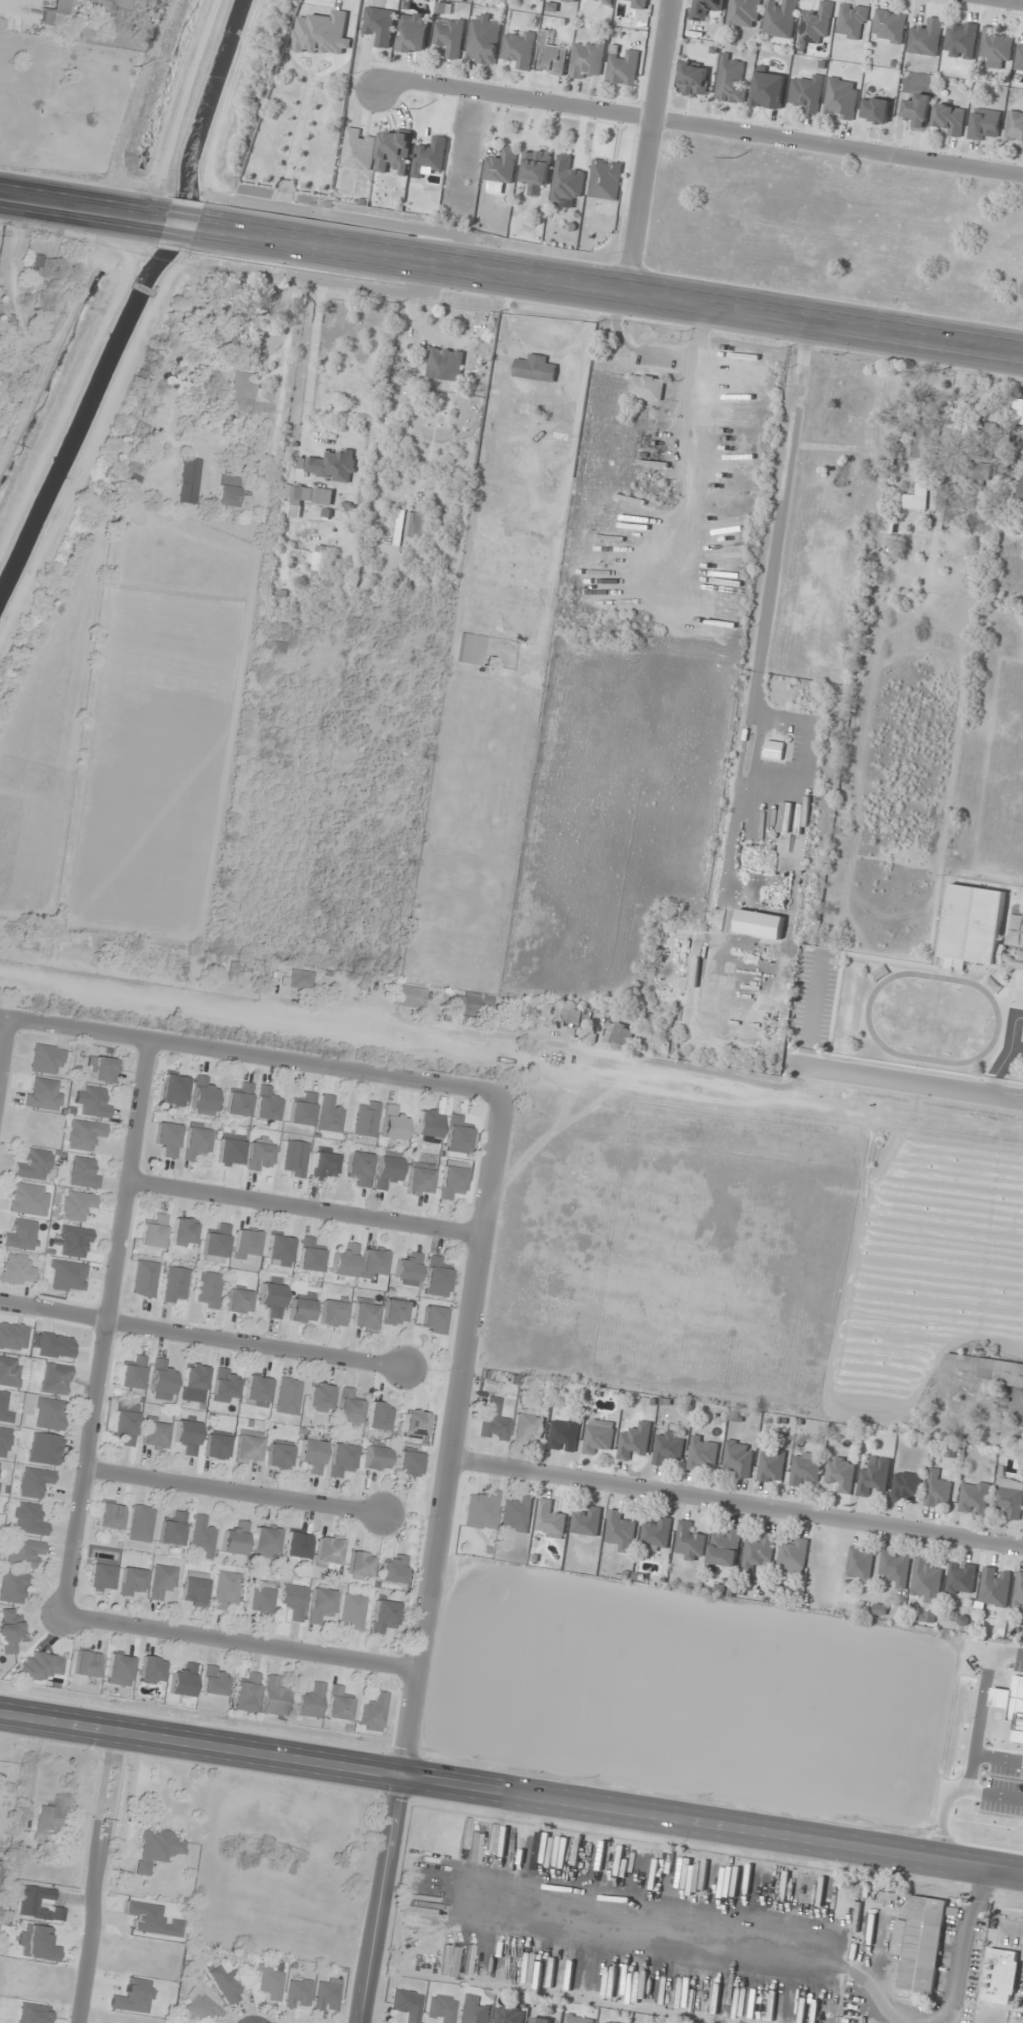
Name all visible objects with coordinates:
building: (570, 0)
building: (601, 1)
road: (1009, 2)
building: (638, 4)
building: (706, 9)
building: (744, 13)
building: (780, 18)
building: (54, 20)
building: (852, 21)
building: (815, 24)
building: (380, 25)
building: (889, 26)
building: (413, 32)
building: (450, 35)
building: (926, 36)
building: (484, 40)
building: (961, 40)
building: (996, 47)
building: (519, 48)
building: (551, 55)
building: (1019, 57)
building: (588, 60)
building: (623, 65)
building: (695, 78)
building: (731, 80)
building: (769, 89)
building: (807, 93)
building: (841, 98)
building: (876, 109)
building: (918, 111)
building: (950, 119)
building: (984, 123)
road: (696, 127)
building: (1014, 128)
road: (648, 145)
building: (359, 149)
building: (395, 151)
building: (322, 152)
building: (501, 165)
building: (536, 166)
building: (606, 179)
building: (568, 181)
road: (76, 207)
road: (177, 223)
building: (38, 265)
road: (612, 288)
building: (46, 298)
building: (6, 322)
building: (226, 330)
building: (445, 364)
road: (297, 366)
building: (536, 368)
building: (2, 373)
building: (647, 387)
building: (241, 392)
building: (1018, 408)
building: (922, 440)
building: (333, 465)
building: (976, 470)
building: (134, 472)
building: (228, 491)
building: (1020, 495)
building: (306, 497)
building: (916, 499)
building: (416, 525)
building: (889, 525)
building: (319, 562)
building: (277, 647)
building: (972, 925)
building: (239, 969)
building: (301, 979)
building: (409, 996)
building: (469, 1004)
road: (812, 1009)
building: (572, 1015)
building: (618, 1033)
road: (533, 1044)
road: (5, 1054)
road: (250, 1055)
road: (1006, 1055)
building: (47, 1059)
building: (104, 1070)
road: (907, 1084)
building: (174, 1090)
building: (44, 1094)
building: (204, 1097)
building: (93, 1101)
building: (240, 1101)
building: (267, 1104)
building: (303, 1110)
building: (330, 1115)
building: (366, 1118)
building: (393, 1124)
building: (429, 1124)
building: (84, 1135)
building: (458, 1135)
building: (168, 1138)
building: (197, 1141)
building: (231, 1150)
building: (260, 1154)
building: (296, 1158)
building: (324, 1164)
building: (35, 1165)
building: (360, 1167)
building: (387, 1171)
building: (84, 1173)
building: (420, 1178)
building: (452, 1181)
building: (29, 1199)
building: (78, 1205)
road: (305, 1207)
building: (154, 1232)
building: (183, 1233)
building: (22, 1235)
building: (75, 1242)
building: (217, 1242)
building: (247, 1245)
building: (280, 1250)
building: (310, 1256)
building: (346, 1261)
building: (374, 1264)
building: (17, 1270)
building: (409, 1270)
building: (68, 1276)
building: (145, 1278)
building: (436, 1278)
building: (175, 1285)
building: (208, 1290)
building: (272, 1299)
building: (239, 1301)
building: (301, 1311)
building: (395, 1312)
building: (333, 1313)
building: (364, 1315)
building: (434, 1320)
road: (106, 1328)
road: (202, 1335)
building: (13, 1337)
building: (989, 1368)
building: (10, 1371)
building: (133, 1374)
building: (162, 1378)
building: (195, 1378)
building: (56, 1379)
building: (226, 1386)
building: (257, 1391)
building: (289, 1396)
building: (320, 1397)
building: (4, 1409)
building: (349, 1409)
building: (50, 1414)
building: (378, 1417)
building: (494, 1420)
building: (415, 1424)
building: (125, 1426)
building: (528, 1428)
building: (155, 1432)
building: (564, 1433)
building: (188, 1435)
building: (598, 1436)
building: (635, 1440)
building: (4, 1442)
building: (668, 1446)
building: (217, 1447)
building: (249, 1447)
building: (44, 1449)
building: (703, 1452)
building: (313, 1453)
building: (280, 1455)
building: (739, 1457)
building: (342, 1459)
building: (376, 1459)
building: (409, 1463)
building: (771, 1466)
building: (805, 1468)
building: (841, 1473)
building: (874, 1476)
building: (35, 1482)
building: (906, 1486)
building: (938, 1489)
road: (234, 1493)
building: (974, 1497)
building: (1010, 1497)
road: (736, 1505)
building: (483, 1510)
building: (517, 1515)
building: (111, 1516)
building: (550, 1518)
building: (30, 1519)
building: (587, 1522)
building: (141, 1523)
building: (173, 1529)
building: (621, 1531)
building: (203, 1535)
building: (656, 1535)
building: (236, 1539)
building: (266, 1542)
building: (689, 1542)
building: (298, 1544)
building: (725, 1547)
building: (329, 1552)
building: (759, 1552)
building: (25, 1553)
building: (794, 1555)
road: (434, 1559)
building: (860, 1563)
building: (361, 1565)
building: (896, 1567)
building: (394, 1569)
building: (102, 1574)
building: (961, 1578)
building: (927, 1579)
building: (132, 1581)
building: (163, 1581)
building: (995, 1586)
building: (13, 1587)
building: (195, 1588)
building: (227, 1589)
building: (1019, 1590)
building: (260, 1598)
building: (294, 1601)
building: (321, 1605)
building: (353, 1612)
building: (384, 1616)
building: (928, 1617)
building: (10, 1631)
road: (240, 1644)
building: (87, 1664)
building: (42, 1667)
building: (120, 1670)
building: (152, 1670)
building: (183, 1681)
building: (215, 1681)
building: (246, 1694)
building: (275, 1698)
building: (311, 1701)
crop: (730, 1701)
building: (338, 1704)
building: (374, 1713)
building: (997, 1737)
street lamp: (79, 1751)
street lamp: (469, 1758)
street lamp: (541, 1770)
street lamp: (593, 1776)
road: (511, 1790)
street lamp: (704, 1794)
street lamp: (378, 1795)
street lamp: (850, 1817)
building: (48, 1820)
street lamp: (939, 1830)
street lamp: (679, 1842)
building: (157, 1848)
street lamp: (841, 1868)
road: (95, 1876)
road: (1012, 1927)
building: (37, 1944)
building: (920, 1948)
building: (999, 1975)
building: (270, 1982)
building: (227, 1986)
building: (299, 1994)
building: (328, 1995)
building: (407, 2004)
building: (201, 2007)
building: (442, 2008)
building: (475, 2010)
building: (509, 2014)
building: (578, 2019)
building: (541, 2020)
building: (610, 2022)

